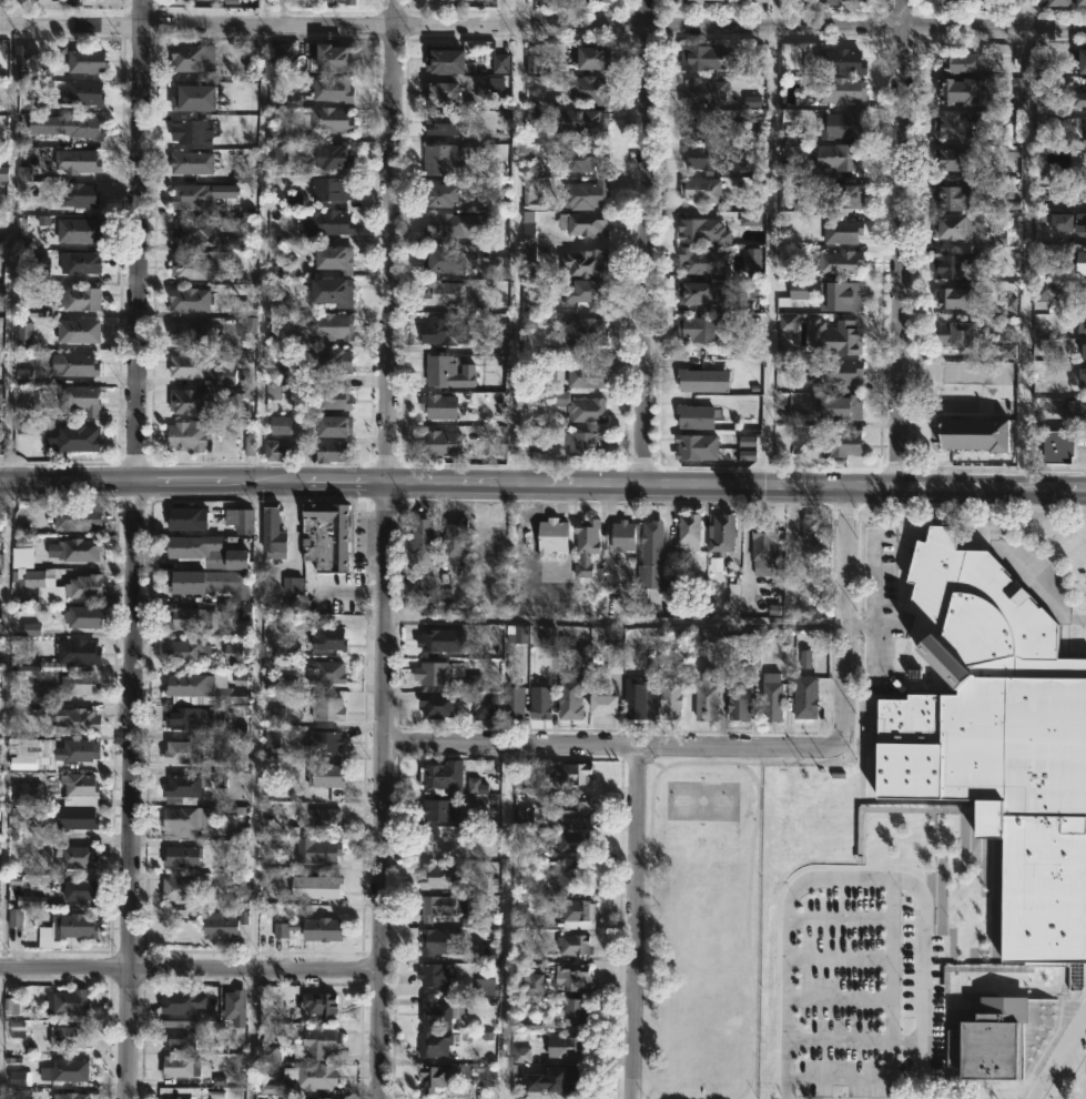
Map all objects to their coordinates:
building: (589, 0)
building: (760, 0)
building: (324, 1)
building: (691, 1)
building: (833, 1)
building: (348, 2)
building: (944, 2)
building: (1059, 2)
building: (1082, 2)
road: (518, 12)
road: (773, 13)
road: (1027, 13)
road: (542, 24)
building: (709, 57)
building: (191, 58)
building: (280, 58)
building: (590, 58)
building: (331, 59)
building: (443, 60)
building: (84, 61)
building: (844, 61)
building: (1083, 61)
building: (24, 63)
building: (535, 63)
building: (964, 63)
building: (332, 89)
building: (587, 90)
building: (842, 91)
building: (958, 91)
building: (80, 92)
building: (702, 92)
building: (443, 94)
building: (192, 98)
building: (1079, 99)
building: (1039, 110)
building: (534, 117)
building: (327, 120)
building: (443, 123)
building: (580, 123)
building: (65, 125)
building: (699, 125)
building: (842, 125)
building: (955, 125)
building: (190, 131)
building: (281, 132)
building: (276, 153)
building: (333, 155)
building: (703, 157)
building: (839, 157)
building: (583, 159)
building: (951, 159)
building: (440, 160)
building: (75, 161)
building: (190, 162)
building: (331, 189)
building: (700, 190)
building: (78, 194)
building: (530, 194)
building: (585, 194)
building: (1070, 194)
building: (189, 195)
building: (438, 195)
building: (844, 196)
building: (952, 196)
building: (751, 210)
building: (324, 223)
building: (582, 223)
building: (444, 225)
building: (1067, 226)
building: (527, 228)
building: (952, 228)
building: (78, 231)
building: (190, 231)
building: (702, 231)
building: (841, 231)
building: (2, 241)
road: (648, 243)
road: (902, 245)
road: (517, 255)
building: (333, 258)
road: (770, 258)
road: (1023, 259)
building: (441, 261)
building: (701, 261)
building: (753, 262)
building: (840, 262)
building: (80, 263)
building: (585, 263)
building: (1082, 263)
building: (957, 266)
building: (1036, 266)
building: (189, 268)
building: (798, 290)
building: (448, 291)
building: (1043, 291)
building: (331, 292)
building: (586, 293)
building: (694, 293)
building: (840, 295)
building: (1085, 298)
building: (79, 299)
building: (955, 299)
building: (189, 300)
building: (786, 323)
building: (1082, 324)
building: (324, 326)
building: (702, 330)
building: (77, 331)
building: (445, 331)
building: (585, 332)
building: (191, 334)
building: (955, 334)
building: (835, 336)
building: (1008, 351)
building: (1080, 351)
building: (326, 360)
building: (72, 364)
building: (187, 366)
building: (438, 371)
building: (841, 372)
building: (581, 377)
building: (1082, 379)
building: (702, 380)
road: (961, 391)
building: (78, 399)
building: (328, 399)
building: (193, 403)
building: (438, 406)
building: (576, 406)
building: (840, 407)
building: (1078, 410)
building: (694, 417)
building: (332, 427)
building: (974, 434)
building: (185, 435)
building: (72, 440)
building: (440, 443)
building: (841, 443)
building: (583, 444)
building: (0, 447)
building: (696, 447)
building: (1058, 447)
building: (273, 451)
building: (328, 452)
road: (542, 485)
building: (75, 517)
building: (185, 518)
road: (8, 521)
building: (238, 521)
building: (810, 527)
building: (485, 532)
building: (688, 532)
building: (271, 533)
building: (721, 535)
building: (325, 536)
building: (622, 536)
building: (551, 537)
building: (453, 538)
building: (420, 545)
building: (650, 545)
building: (585, 546)
road: (135, 548)
road: (258, 548)
road: (383, 548)
building: (763, 548)
building: (73, 549)
building: (205, 552)
building: (688, 557)
building: (1, 579)
building: (189, 583)
building: (81, 587)
building: (733, 601)
road: (841, 614)
building: (81, 617)
building: (189, 619)
road: (611, 619)
building: (326, 641)
building: (432, 642)
building: (75, 653)
building: (185, 653)
building: (235, 654)
building: (750, 655)
building: (613, 659)
building: (805, 659)
building: (324, 673)
building: (446, 676)
building: (281, 680)
building: (78, 685)
building: (187, 686)
building: (229, 696)
building: (669, 697)
building: (804, 697)
building: (568, 698)
building: (706, 698)
building: (771, 698)
building: (637, 699)
building: (511, 700)
building: (737, 703)
building: (539, 704)
building: (602, 705)
building: (436, 707)
building: (484, 708)
building: (967, 708)
building: (326, 709)
building: (190, 719)
building: (74, 722)
building: (321, 742)
road: (612, 748)
building: (74, 750)
building: (181, 753)
building: (572, 772)
building: (323, 774)
building: (441, 775)
building: (79, 784)
building: (182, 787)
building: (436, 808)
building: (574, 808)
building: (75, 817)
building: (318, 817)
building: (180, 821)
building: (438, 839)
building: (575, 840)
building: (316, 850)
building: (182, 855)
building: (74, 856)
building: (575, 875)
building: (440, 876)
road: (853, 879)
building: (984, 883)
building: (318, 886)
building: (176, 888)
building: (79, 889)
building: (436, 906)
building: (576, 913)
building: (211, 921)
road: (506, 921)
road: (636, 925)
building: (68, 927)
building: (311, 928)
building: (437, 940)
building: (572, 942)
park: (735, 952)
road: (190, 971)
building: (436, 974)
building: (572, 976)
building: (530, 984)
building: (67, 1001)
building: (176, 1001)
building: (318, 1004)
building: (234, 1006)
building: (574, 1010)
building: (437, 1011)
building: (67, 1036)
building: (177, 1037)
building: (988, 1037)
building: (321, 1040)
road: (853, 1040)
building: (433, 1043)
building: (565, 1046)
building: (265, 1052)
road: (1057, 1052)
building: (179, 1066)
building: (63, 1069)
building: (313, 1076)
building: (434, 1077)
building: (562, 1078)
road: (854, 1079)
building: (180, 1092)
building: (69, 1095)
building: (317, 1098)

